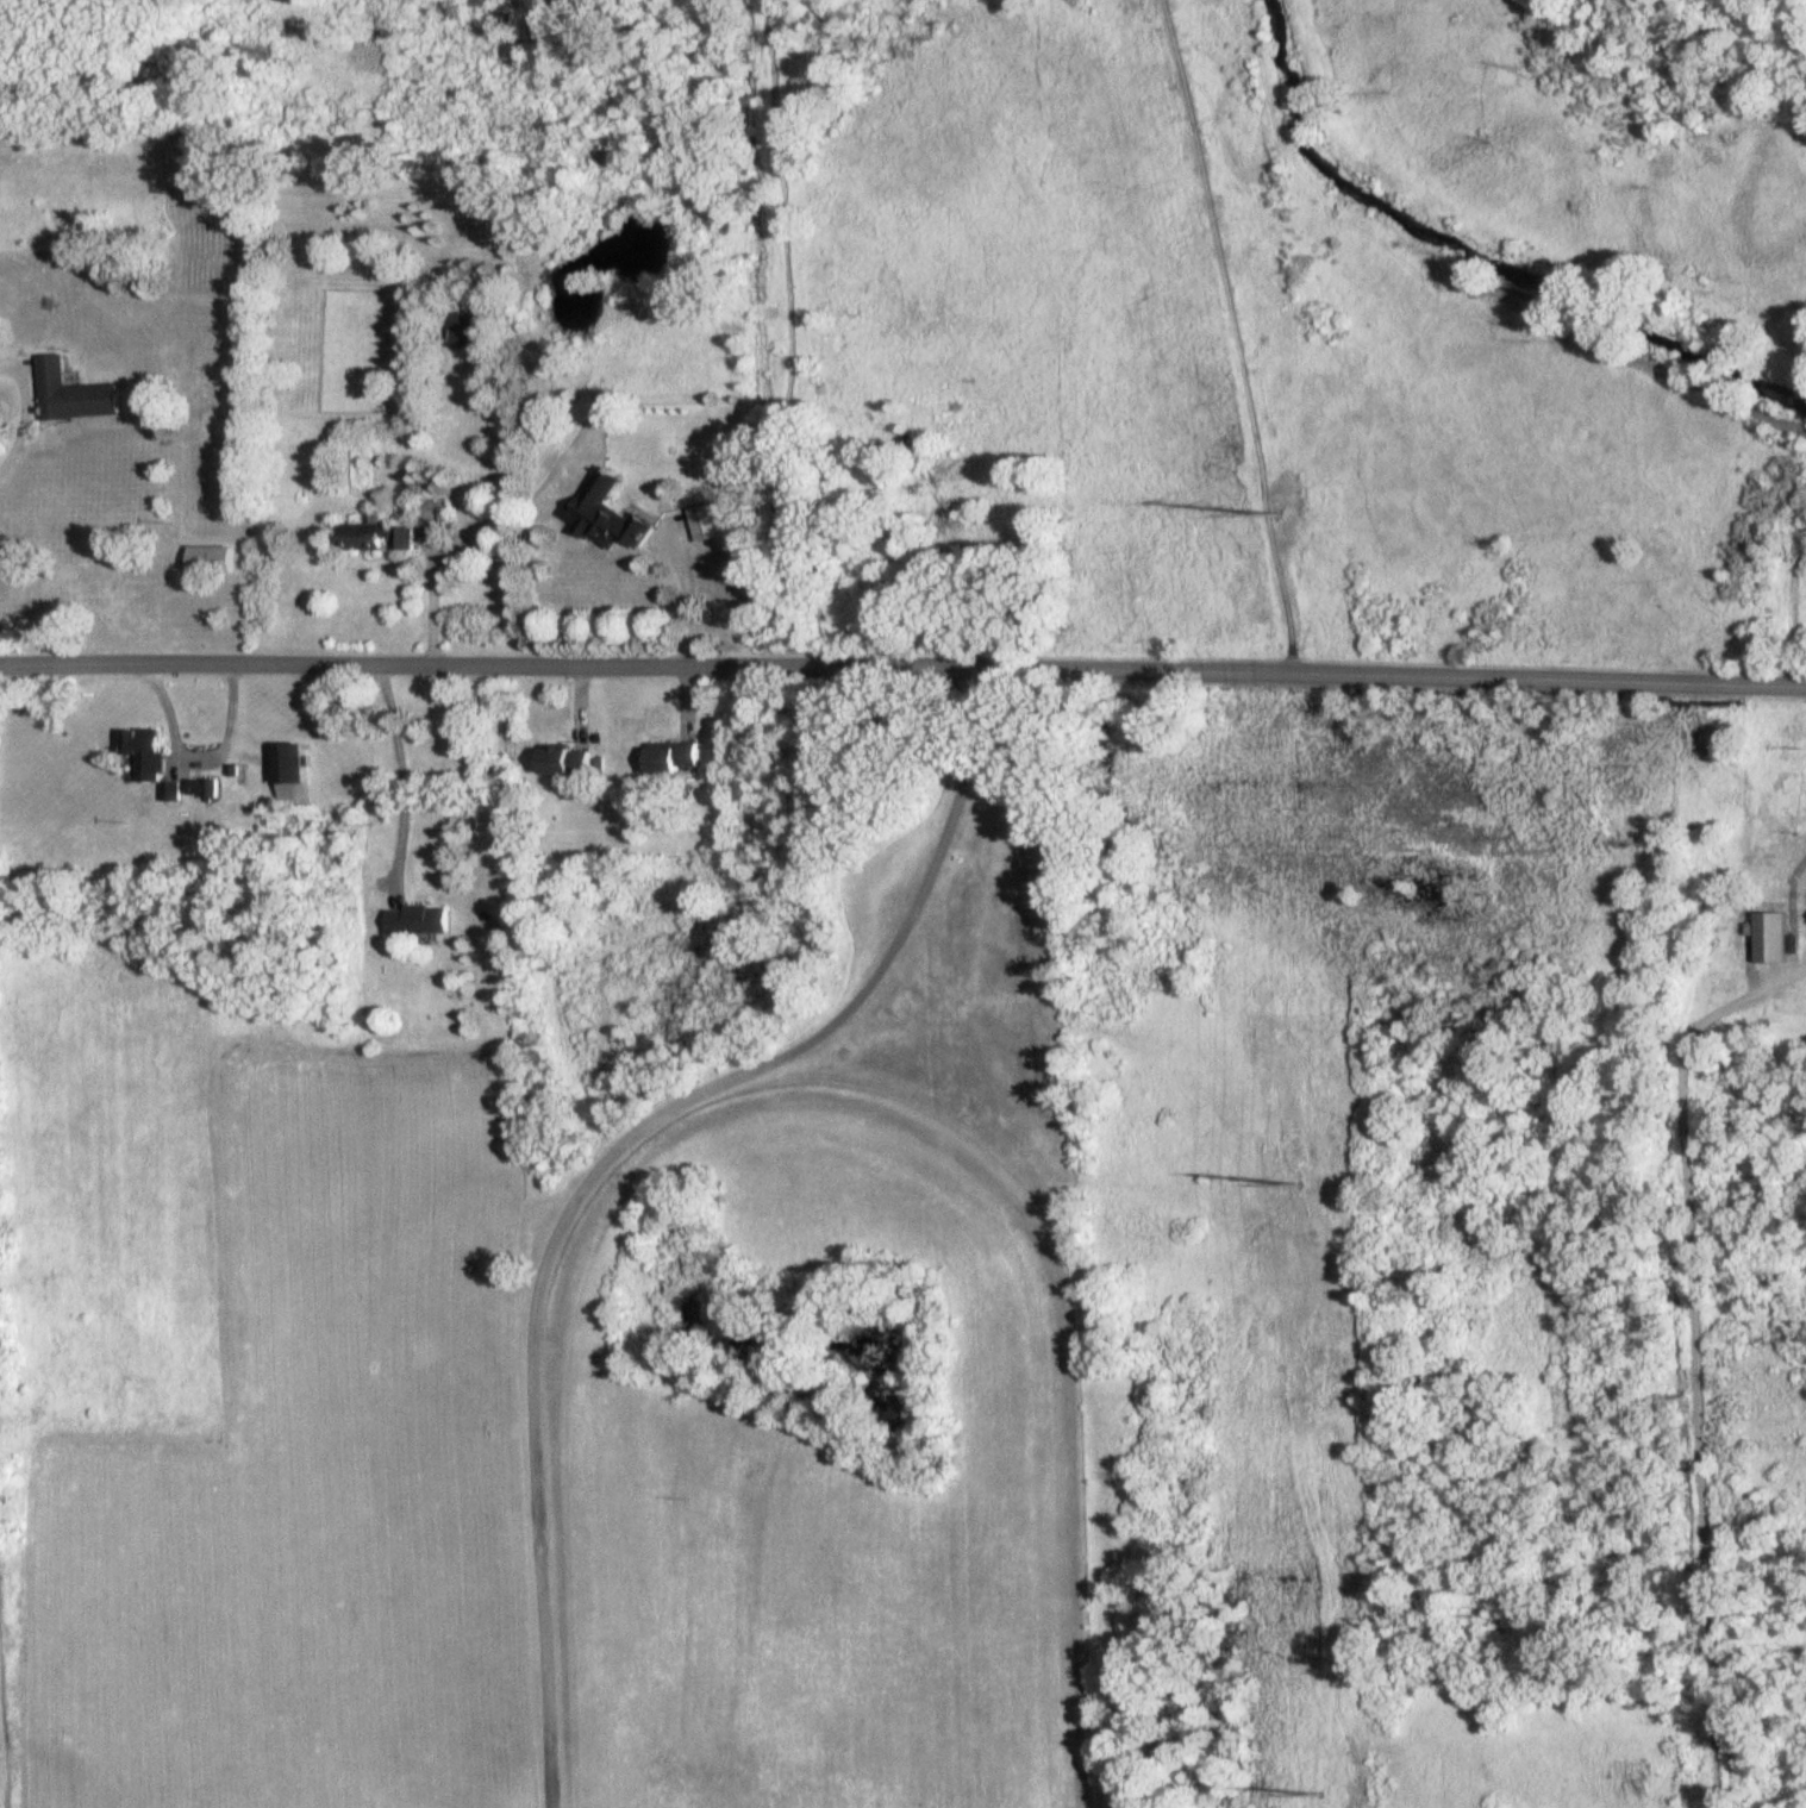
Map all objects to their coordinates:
building: (463, 331)
building: (77, 395)
road: (21, 431)
power tower: (1277, 514)
building: (712, 521)
building: (608, 527)
building: (380, 538)
building: (214, 561)
road: (690, 598)
road: (904, 662)
road: (202, 755)
building: (670, 757)
building: (154, 759)
building: (563, 761)
road: (402, 765)
building: (294, 772)
building: (205, 789)
building: (421, 921)
building: (1768, 937)
road: (601, 1159)
power tower: (1294, 1185)
road: (1689, 1360)
power tower: (1318, 1794)

